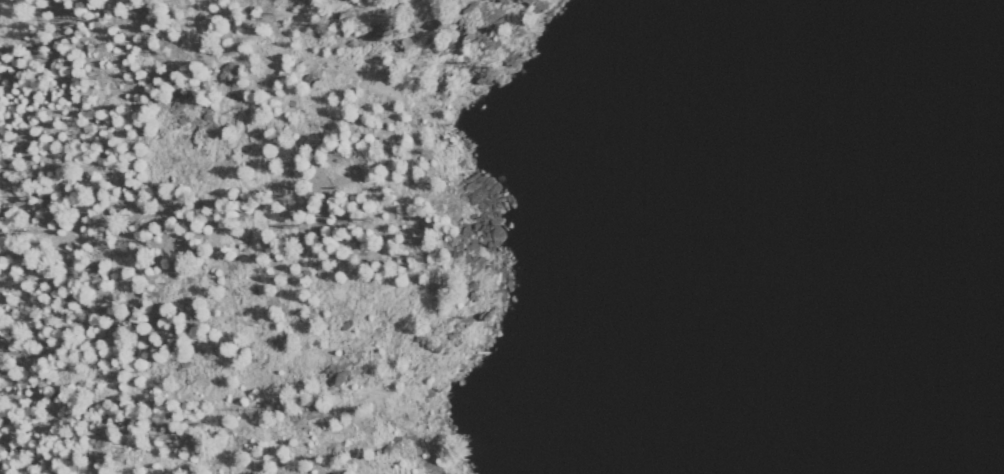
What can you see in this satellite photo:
road: (209, 83)
road: (213, 203)

